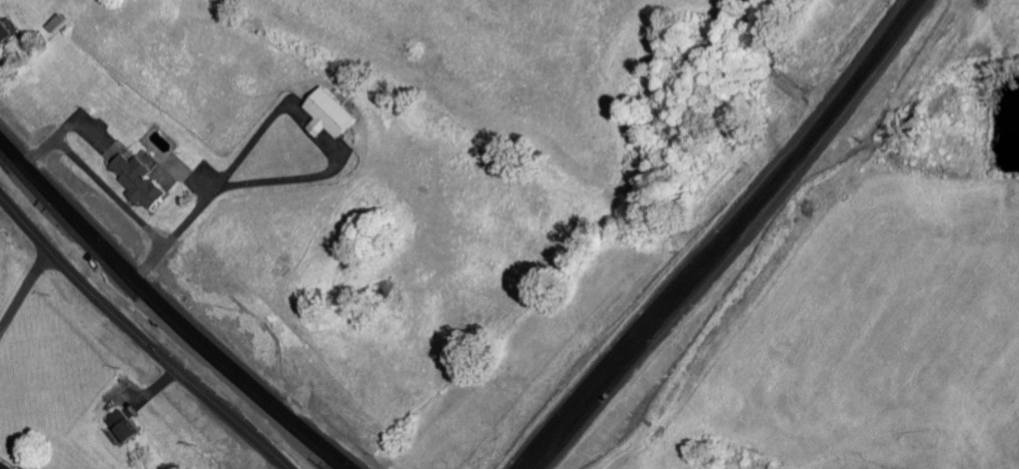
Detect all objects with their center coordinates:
building: (4, 37)
building: (328, 119)
building: (137, 184)
road: (728, 239)
road: (30, 278)
road: (138, 315)
building: (123, 431)
building: (2, 467)

